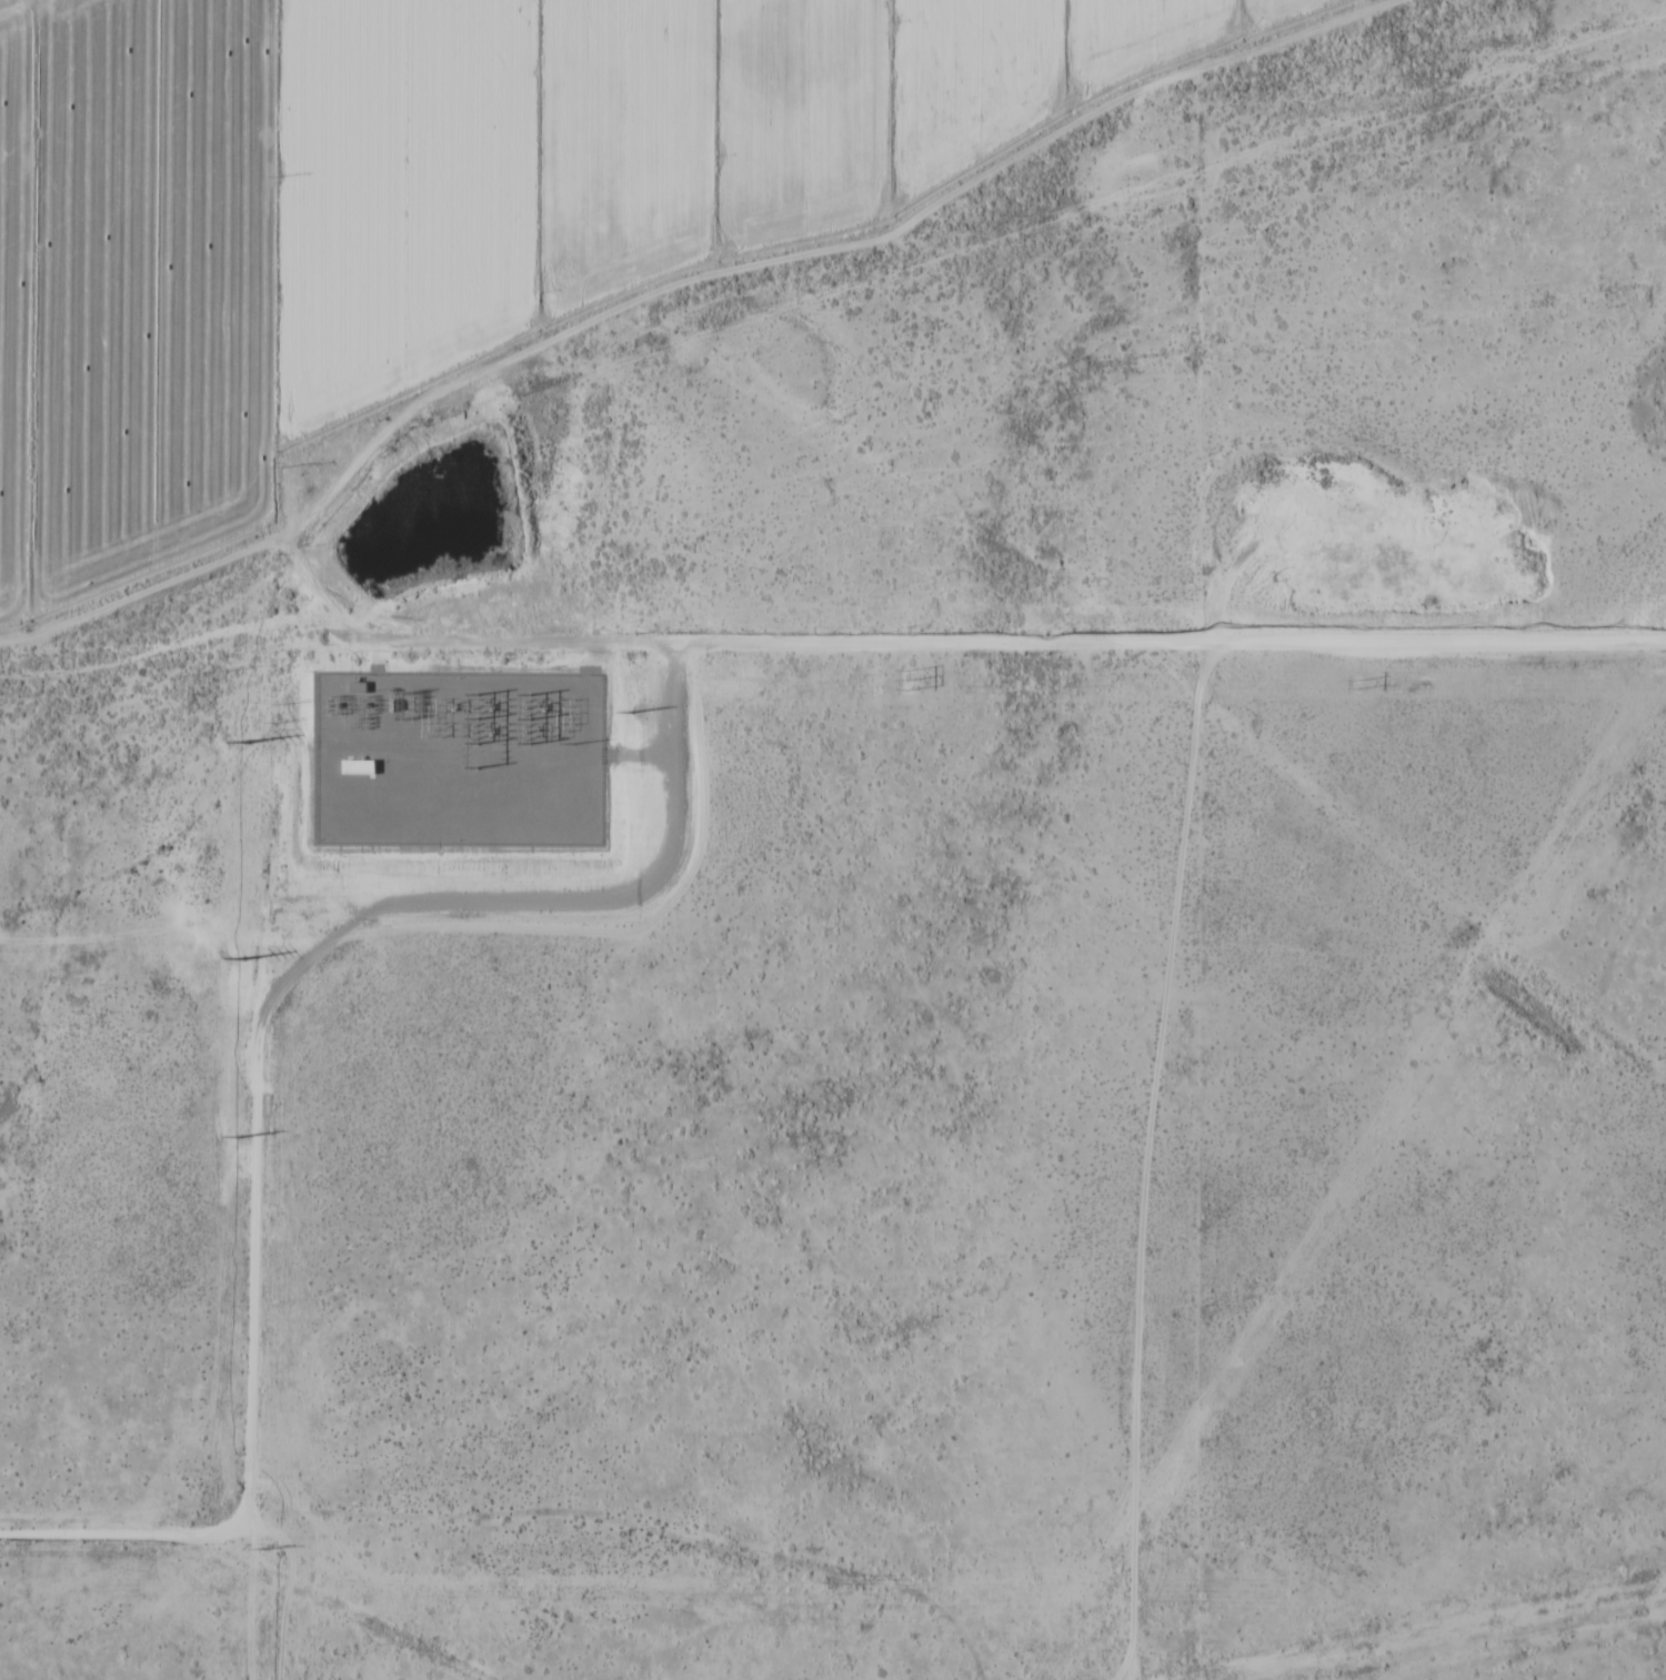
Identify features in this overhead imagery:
road: (1163, 642)
power tower: (901, 680)
power tower: (1353, 684)
power tower: (481, 703)
power tower: (280, 705)
power tower: (272, 724)
power tower: (278, 897)
road: (1165, 944)
road: (250, 1064)
power tower: (267, 1236)
power tower: (261, 1545)
road: (1123, 1660)
road: (1131, 1660)

